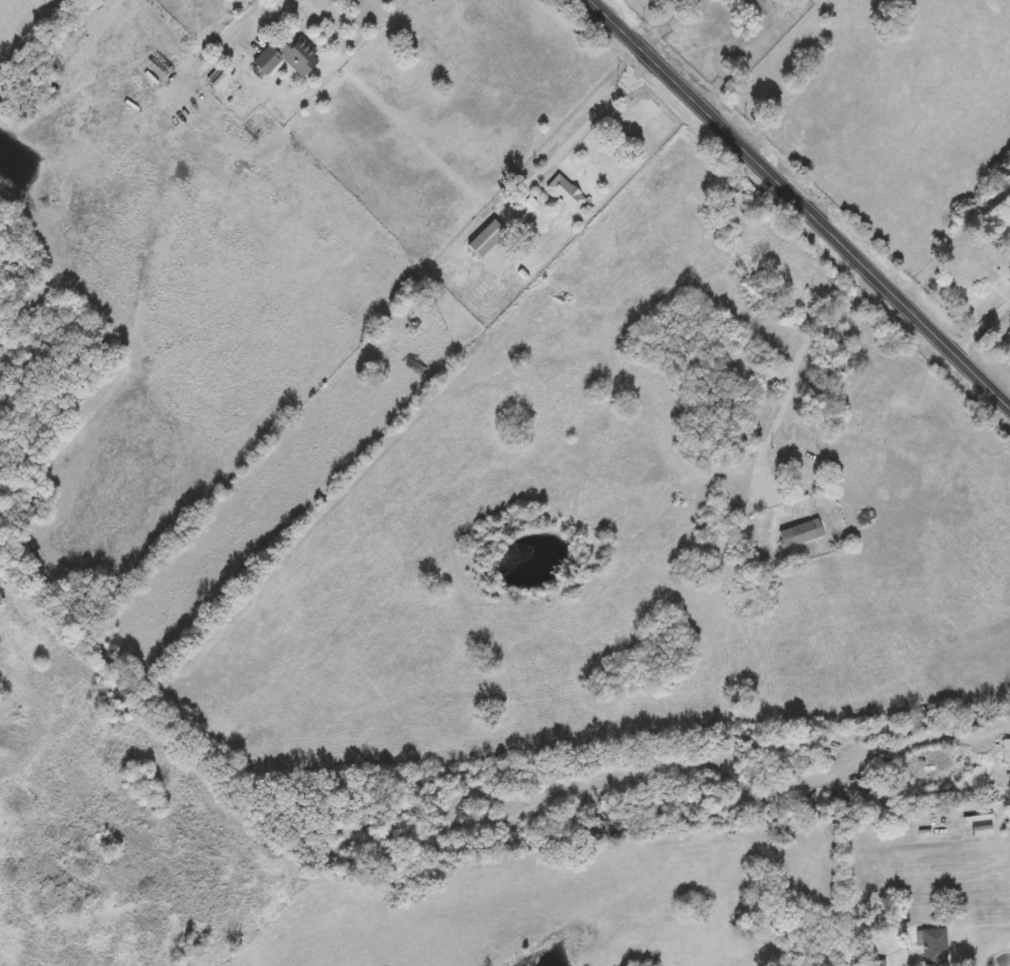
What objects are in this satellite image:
building: (756, 8)
road: (262, 9)
road: (725, 27)
building: (287, 58)
building: (221, 81)
road: (593, 122)
building: (566, 194)
road: (805, 199)
building: (529, 206)
road: (984, 321)
road: (822, 333)
building: (738, 436)
building: (801, 534)
road: (1005, 718)
building: (932, 946)
building: (871, 963)

